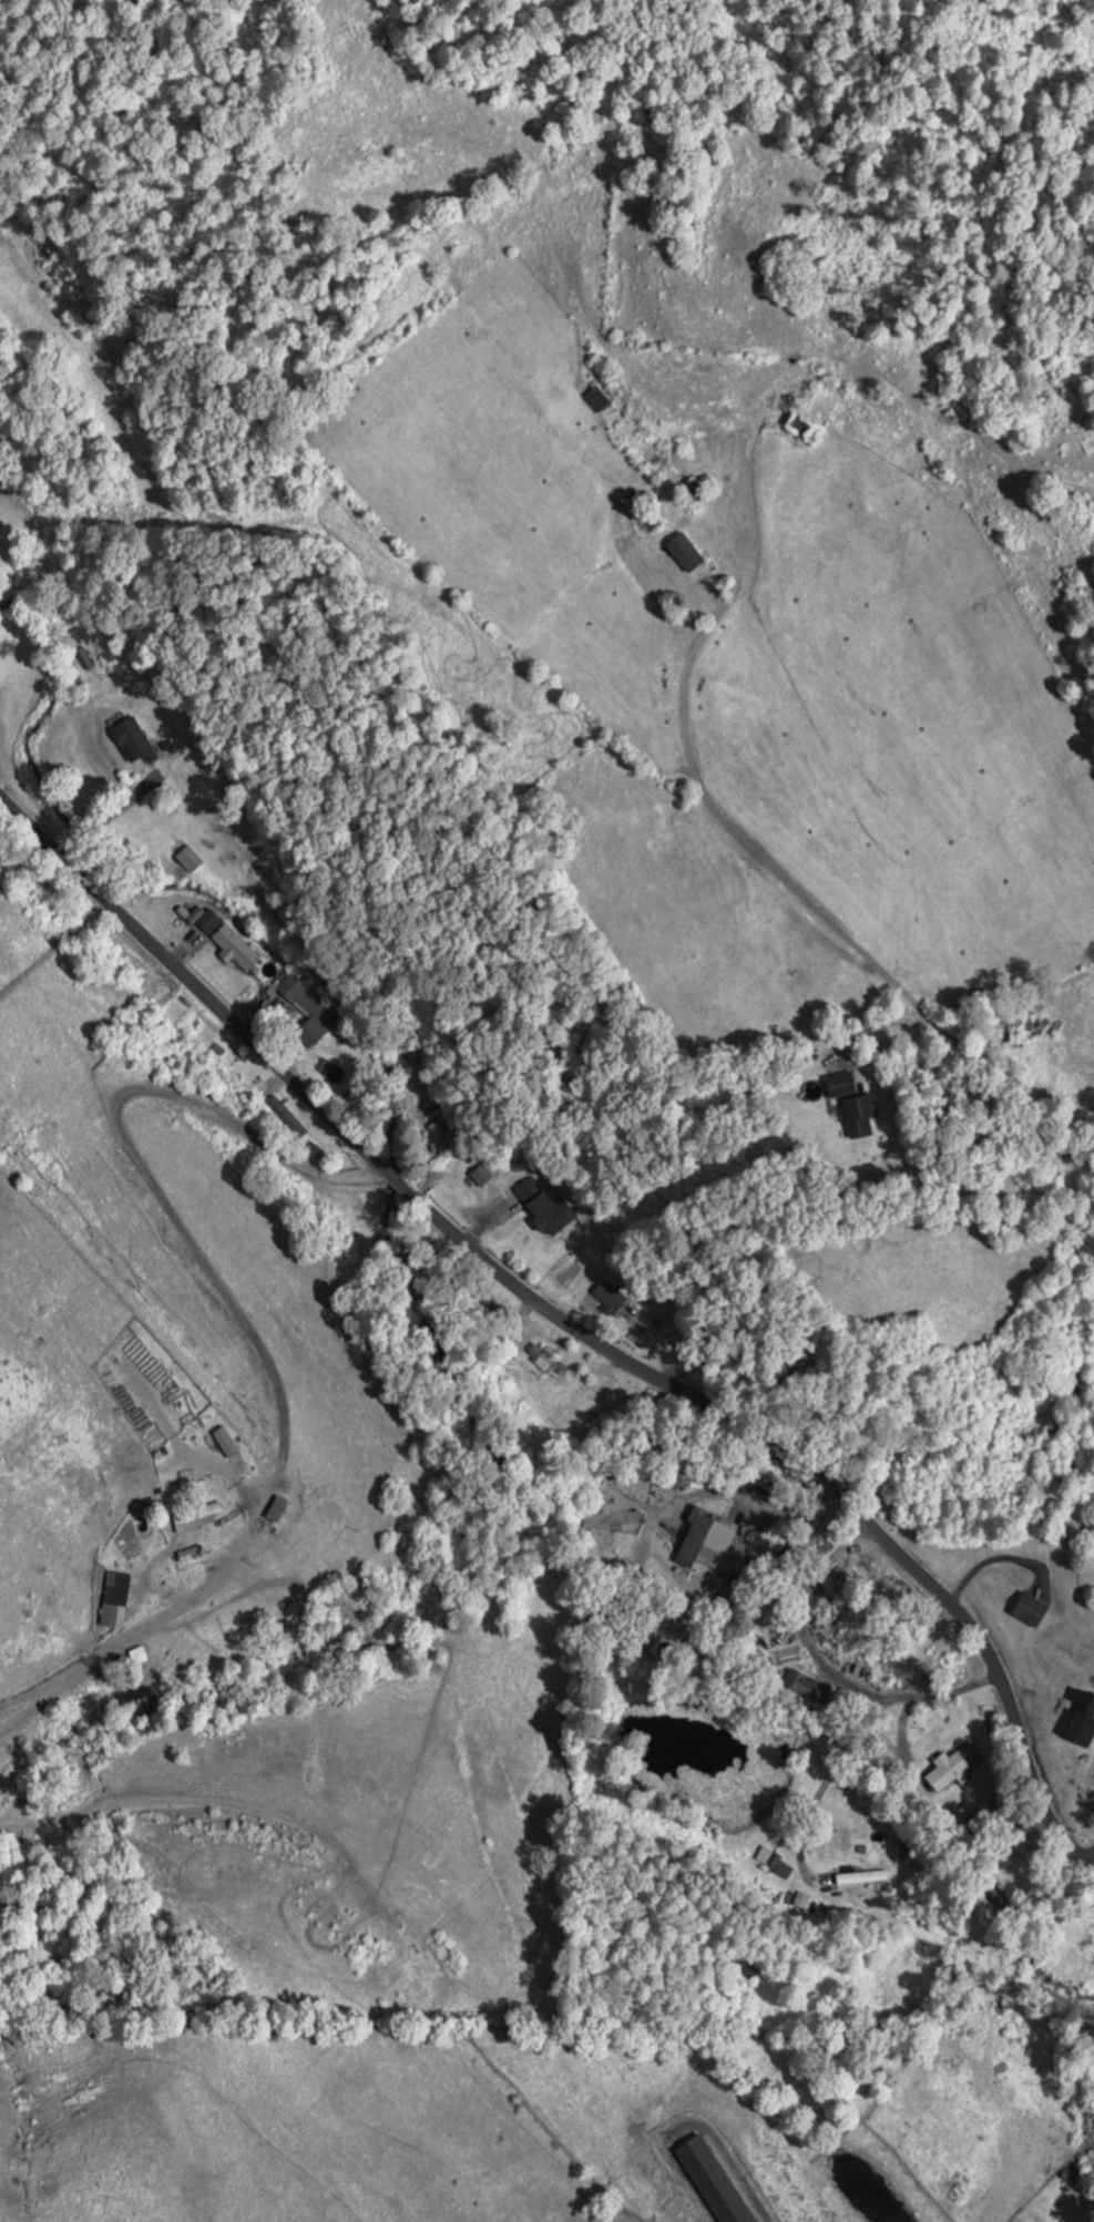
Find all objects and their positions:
building: (596, 399)
building: (796, 423)
building: (688, 489)
building: (645, 513)
building: (683, 552)
road: (677, 590)
building: (132, 736)
road: (880, 828)
building: (188, 857)
building: (228, 936)
building: (303, 1004)
building: (851, 1104)
building: (431, 1109)
building: (286, 1115)
building: (539, 1205)
building: (607, 1296)
road: (569, 1321)
building: (546, 1360)
building: (225, 1440)
building: (277, 1506)
building: (195, 1515)
building: (704, 1544)
road: (757, 1553)
building: (114, 1595)
building: (1027, 1609)
road: (826, 1662)
building: (802, 1683)
building: (1083, 1708)
road: (900, 1728)
building: (945, 1770)
building: (744, 1972)
building: (713, 2180)
building: (1021, 2221)

